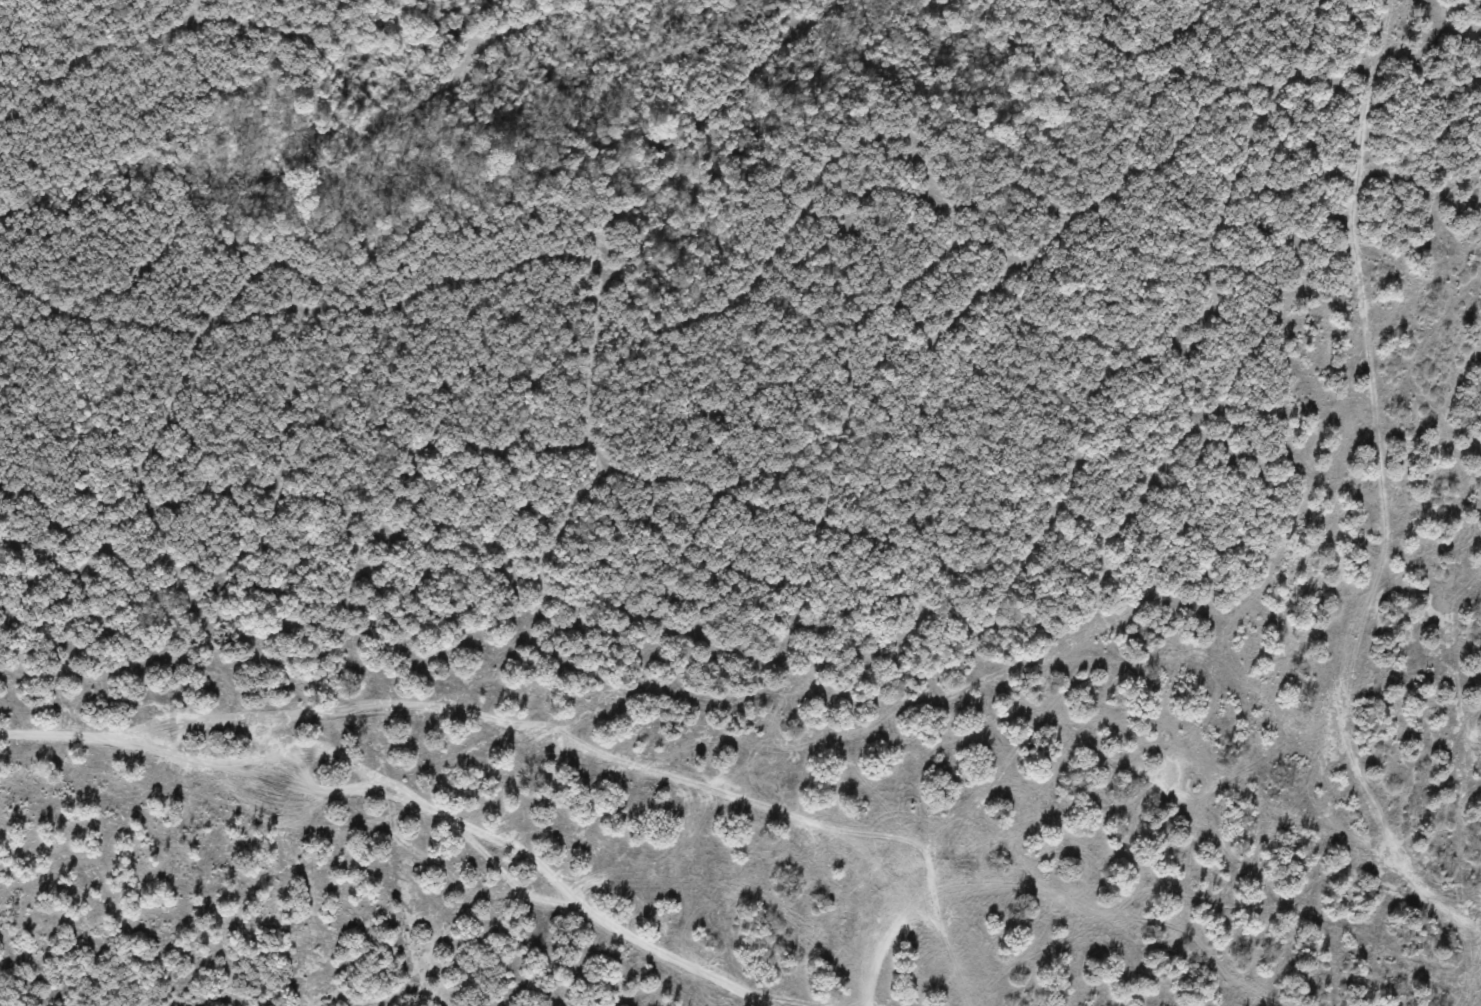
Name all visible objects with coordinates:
road: (407, 800)

